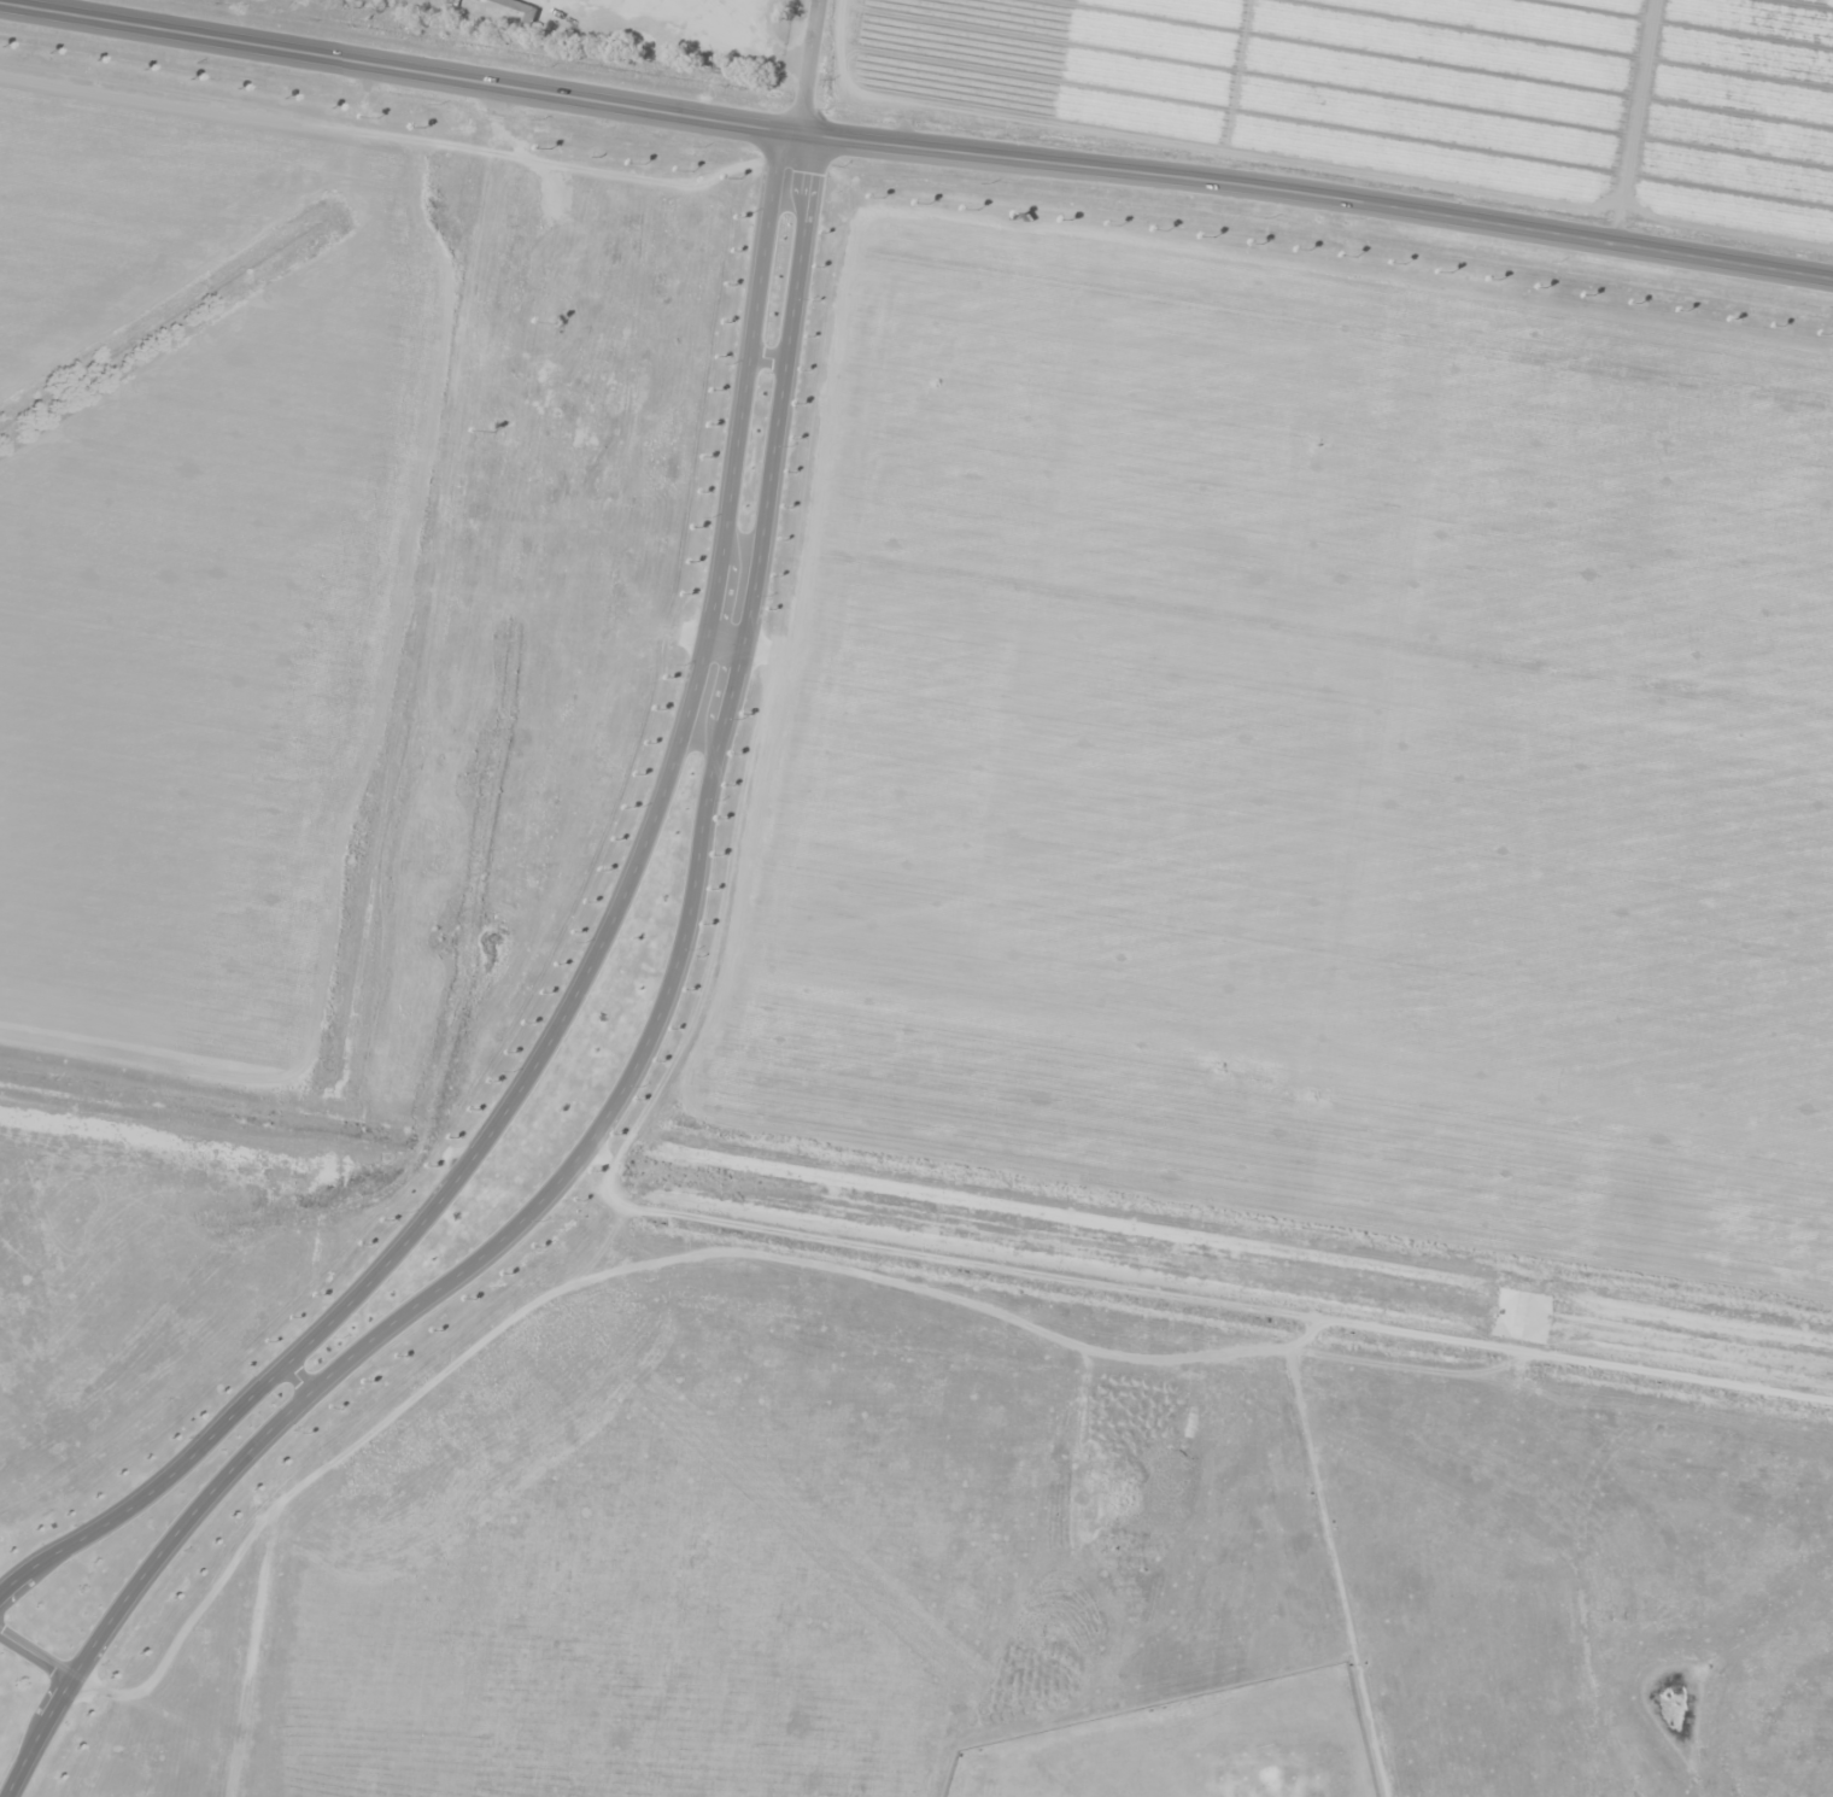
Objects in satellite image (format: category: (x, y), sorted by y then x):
building: (517, 5)
road: (275, 43)
road: (807, 68)
road: (1166, 194)
road: (588, 971)
road: (631, 1075)
road: (36, 1655)

